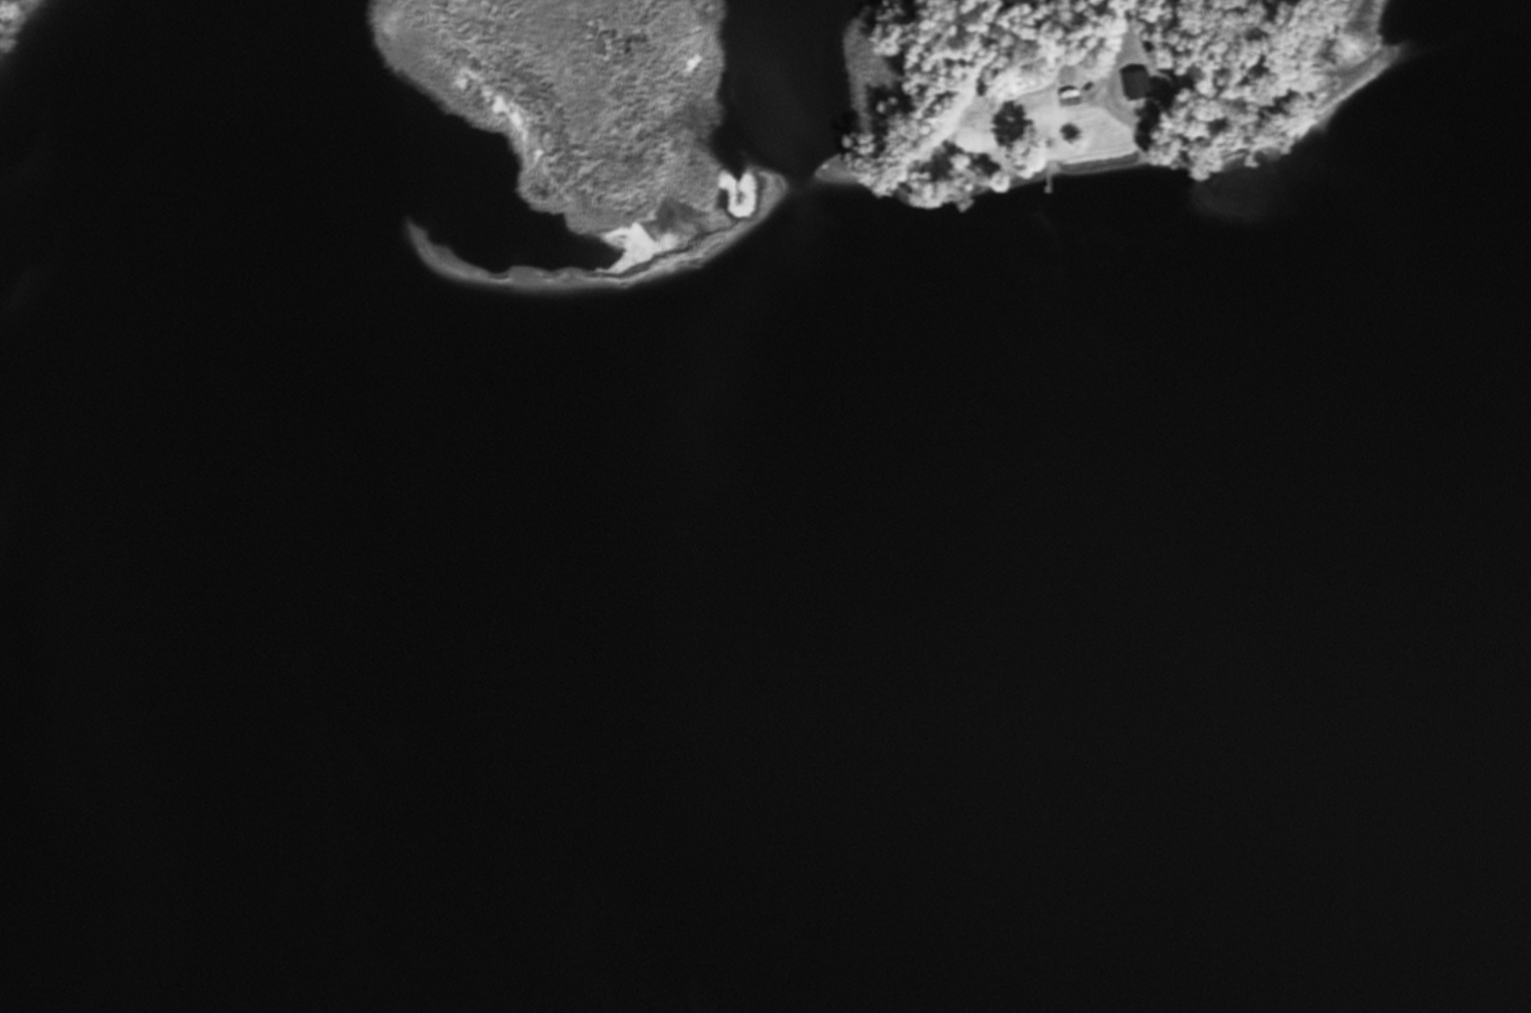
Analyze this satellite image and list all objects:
building: (1137, 84)

